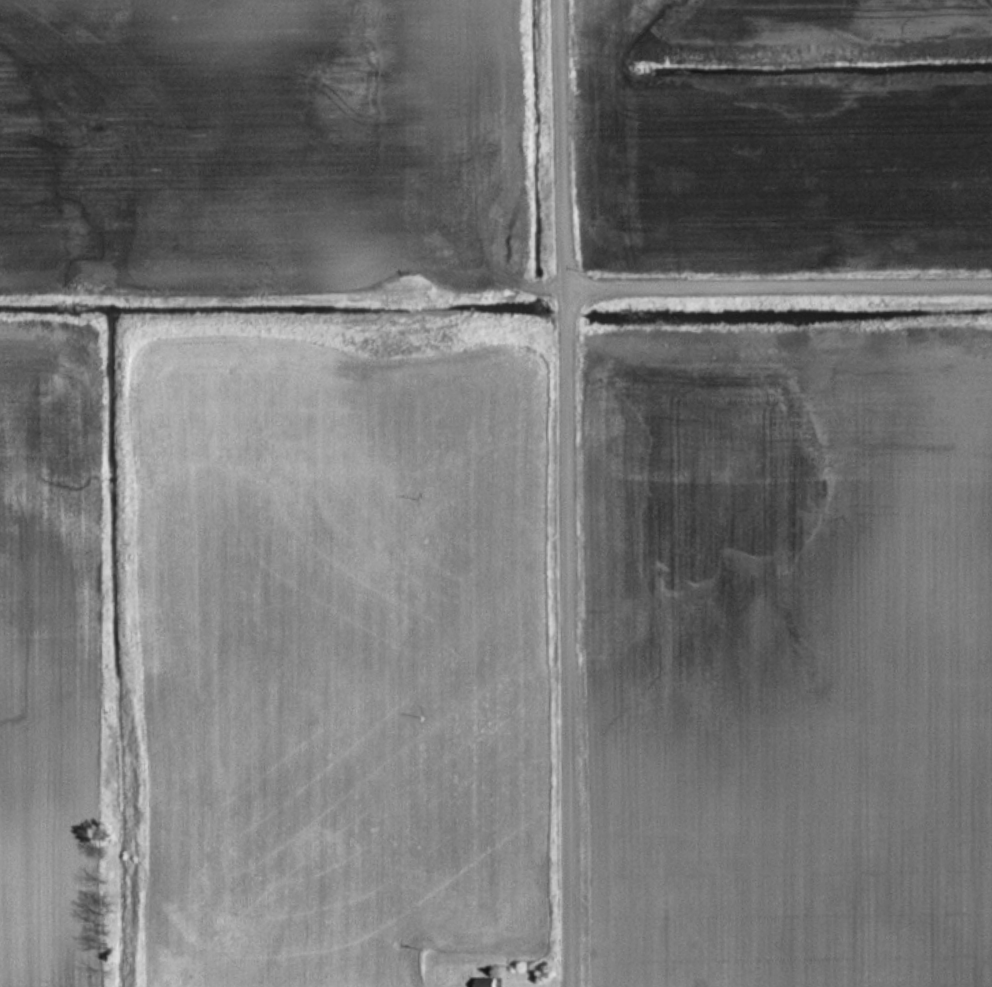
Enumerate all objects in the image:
road: (778, 290)
road: (567, 493)
building: (488, 982)

